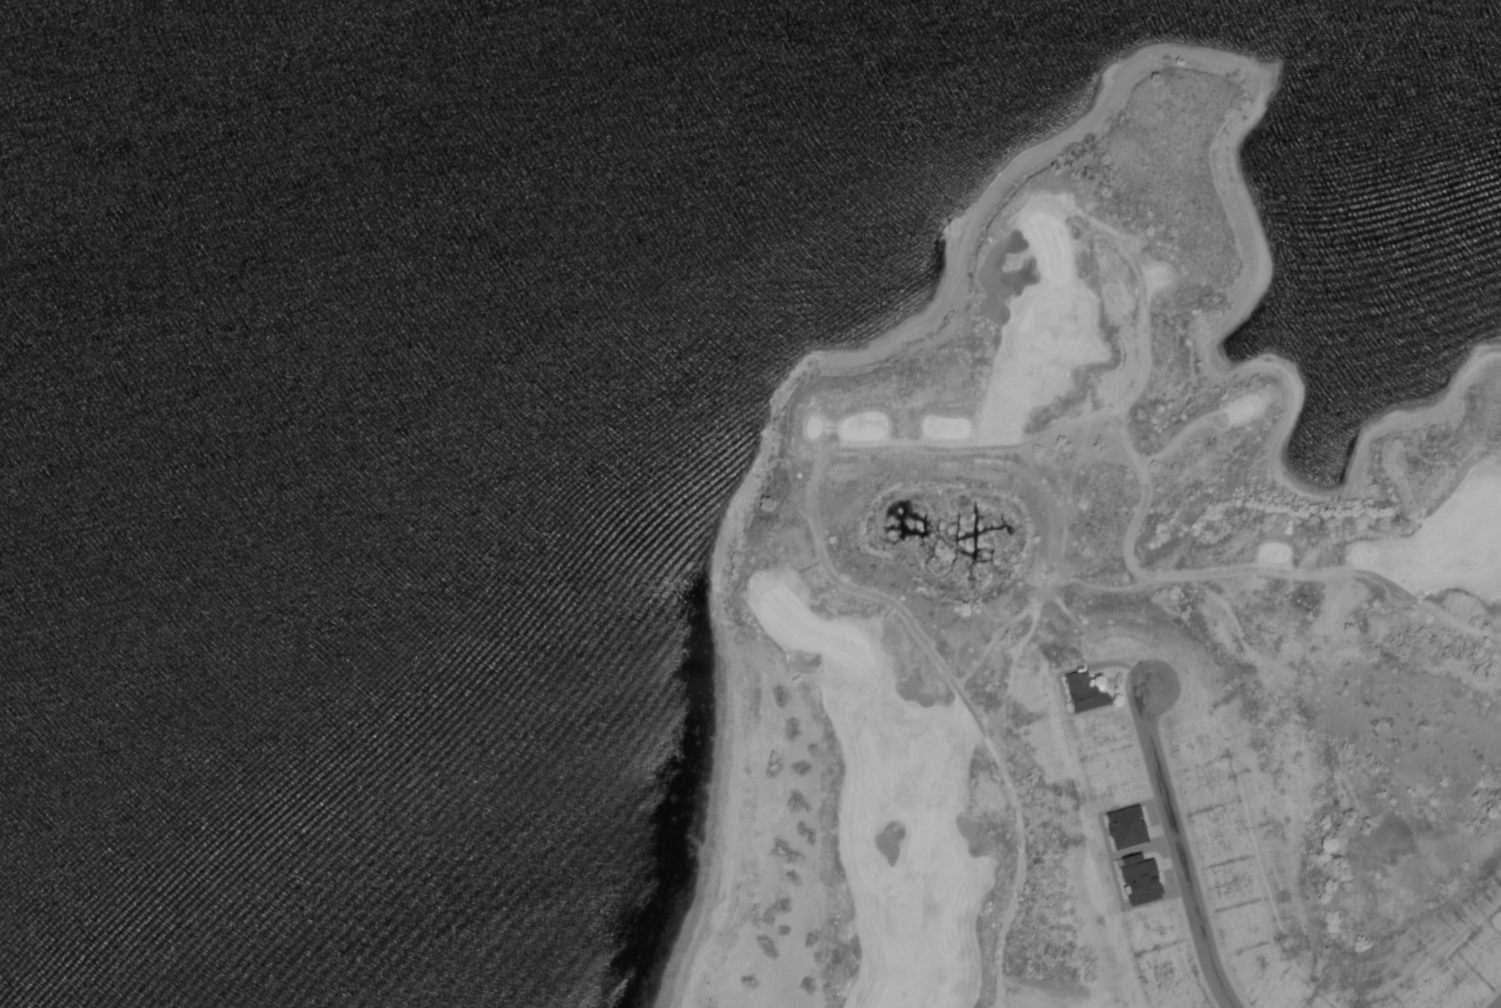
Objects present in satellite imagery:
river: (52, 23)
road: (1176, 440)
road: (819, 536)
road: (1240, 570)
park: (1111, 645)
building: (1081, 694)
building: (1122, 829)
road: (1176, 851)
building: (1135, 881)
road: (1499, 1006)

